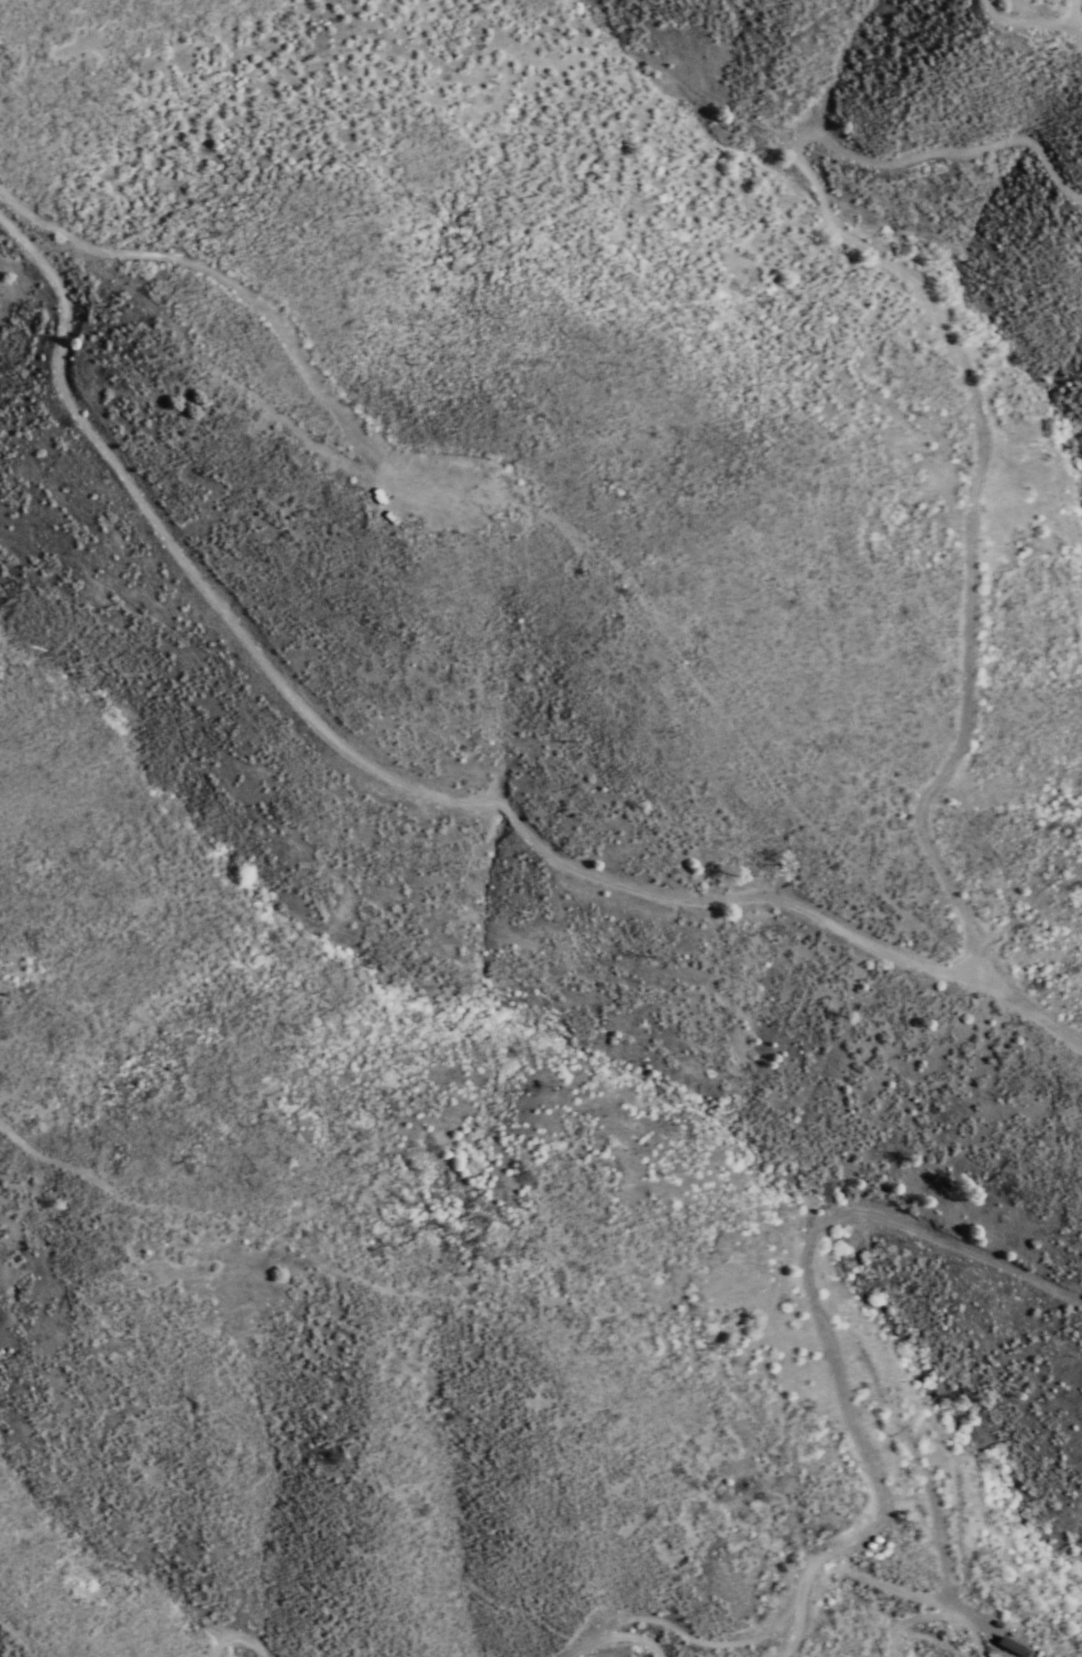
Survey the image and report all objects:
road: (418, 787)
road: (810, 1305)

